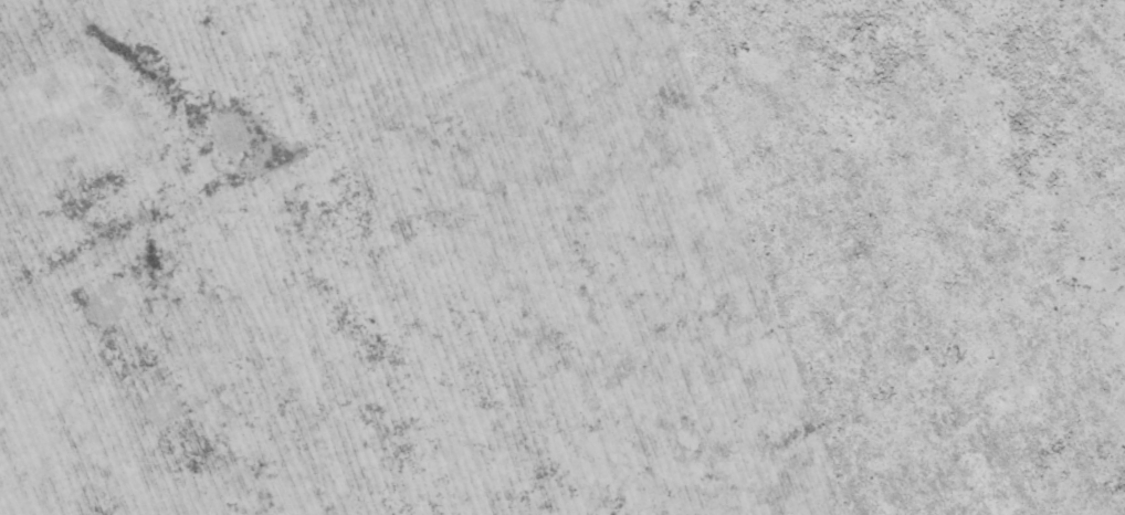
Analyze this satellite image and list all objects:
road: (988, 255)

